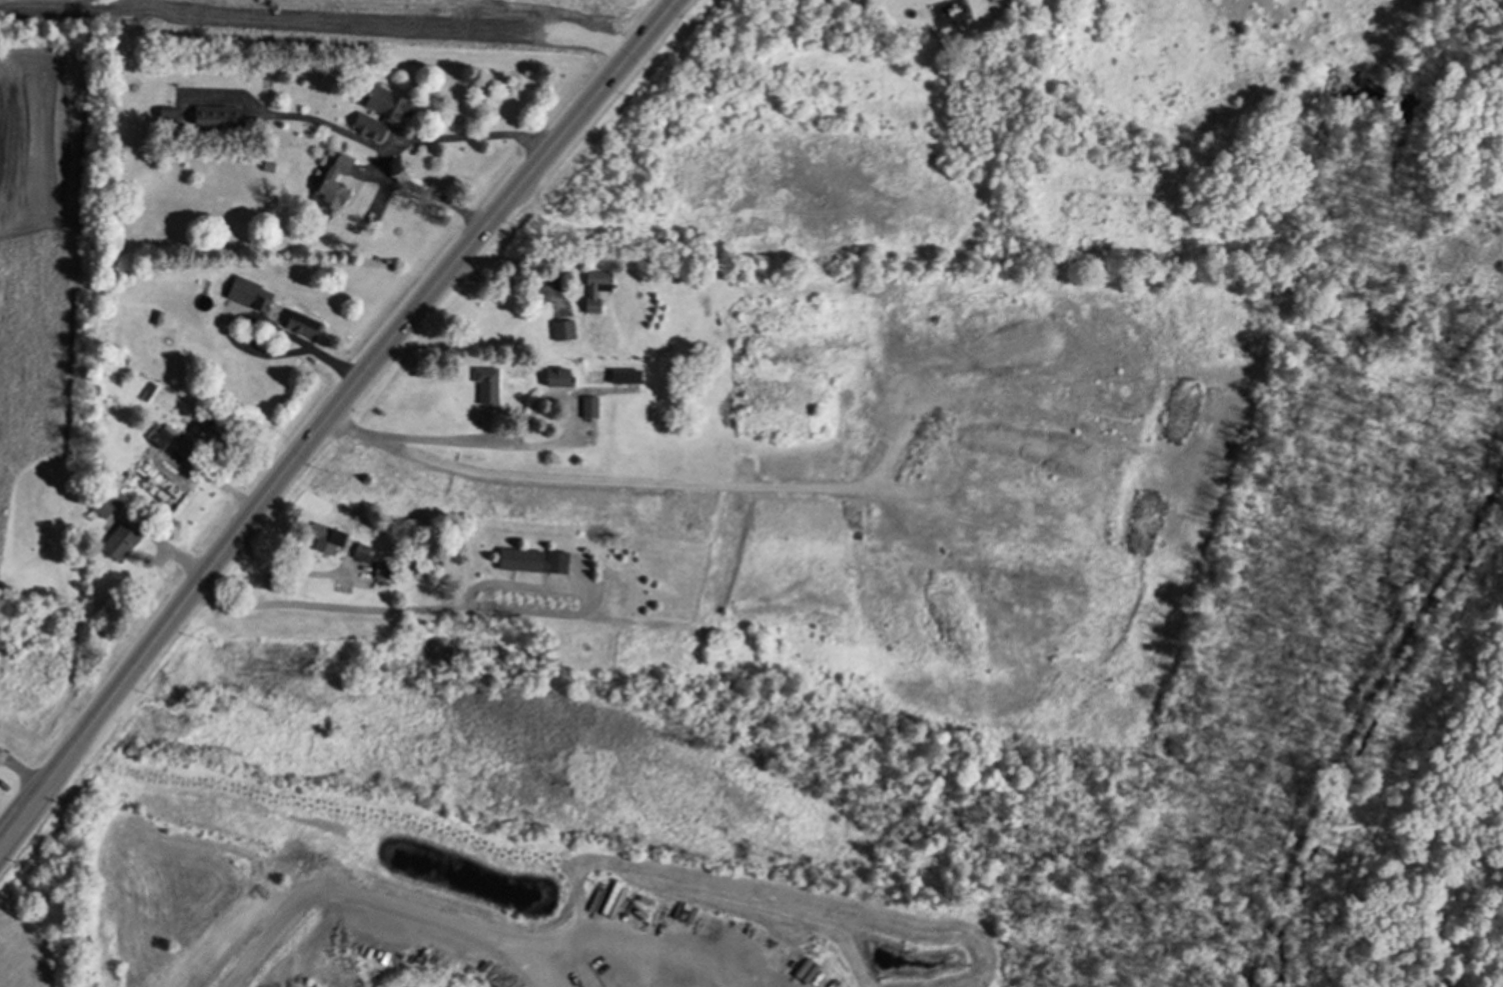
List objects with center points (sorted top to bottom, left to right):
building: (379, 112)
building: (215, 116)
road: (396, 143)
building: (333, 182)
building: (594, 288)
building: (248, 294)
building: (301, 324)
building: (562, 330)
building: (625, 375)
building: (557, 377)
building: (485, 383)
road: (554, 392)
building: (588, 406)
road: (329, 414)
building: (209, 433)
building: (157, 435)
road: (441, 439)
building: (101, 505)
building: (325, 537)
building: (119, 541)
building: (360, 551)
building: (531, 560)
building: (382, 570)
road: (342, 607)
road: (1360, 727)
road: (431, 918)
road: (256, 941)

